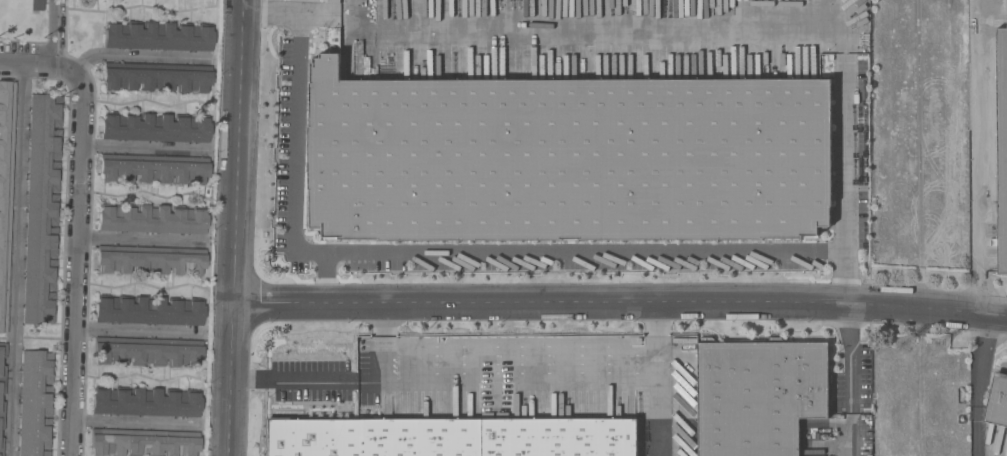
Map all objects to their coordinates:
building: (35, 5)
road: (290, 14)
road: (605, 16)
road: (56, 33)
building: (157, 37)
road: (141, 59)
road: (45, 65)
building: (155, 80)
building: (987, 90)
building: (152, 128)
building: (1002, 144)
building: (550, 145)
road: (145, 149)
road: (976, 156)
building: (153, 170)
building: (989, 174)
road: (845, 179)
building: (5, 189)
building: (39, 206)
building: (152, 220)
road: (238, 228)
road: (143, 246)
road: (449, 251)
road: (16, 259)
building: (150, 263)
road: (79, 270)
road: (326, 282)
building: (48, 291)
road: (621, 309)
building: (148, 311)
road: (141, 332)
power tower: (950, 345)
road: (382, 346)
power tower: (913, 352)
building: (147, 354)
building: (2, 367)
road: (539, 377)
road: (292, 380)
road: (849, 381)
road: (979, 386)
building: (762, 397)
building: (32, 402)
building: (145, 402)
building: (998, 402)
building: (1, 414)
road: (659, 417)
road: (137, 424)
building: (454, 438)
building: (144, 445)
building: (1, 446)

